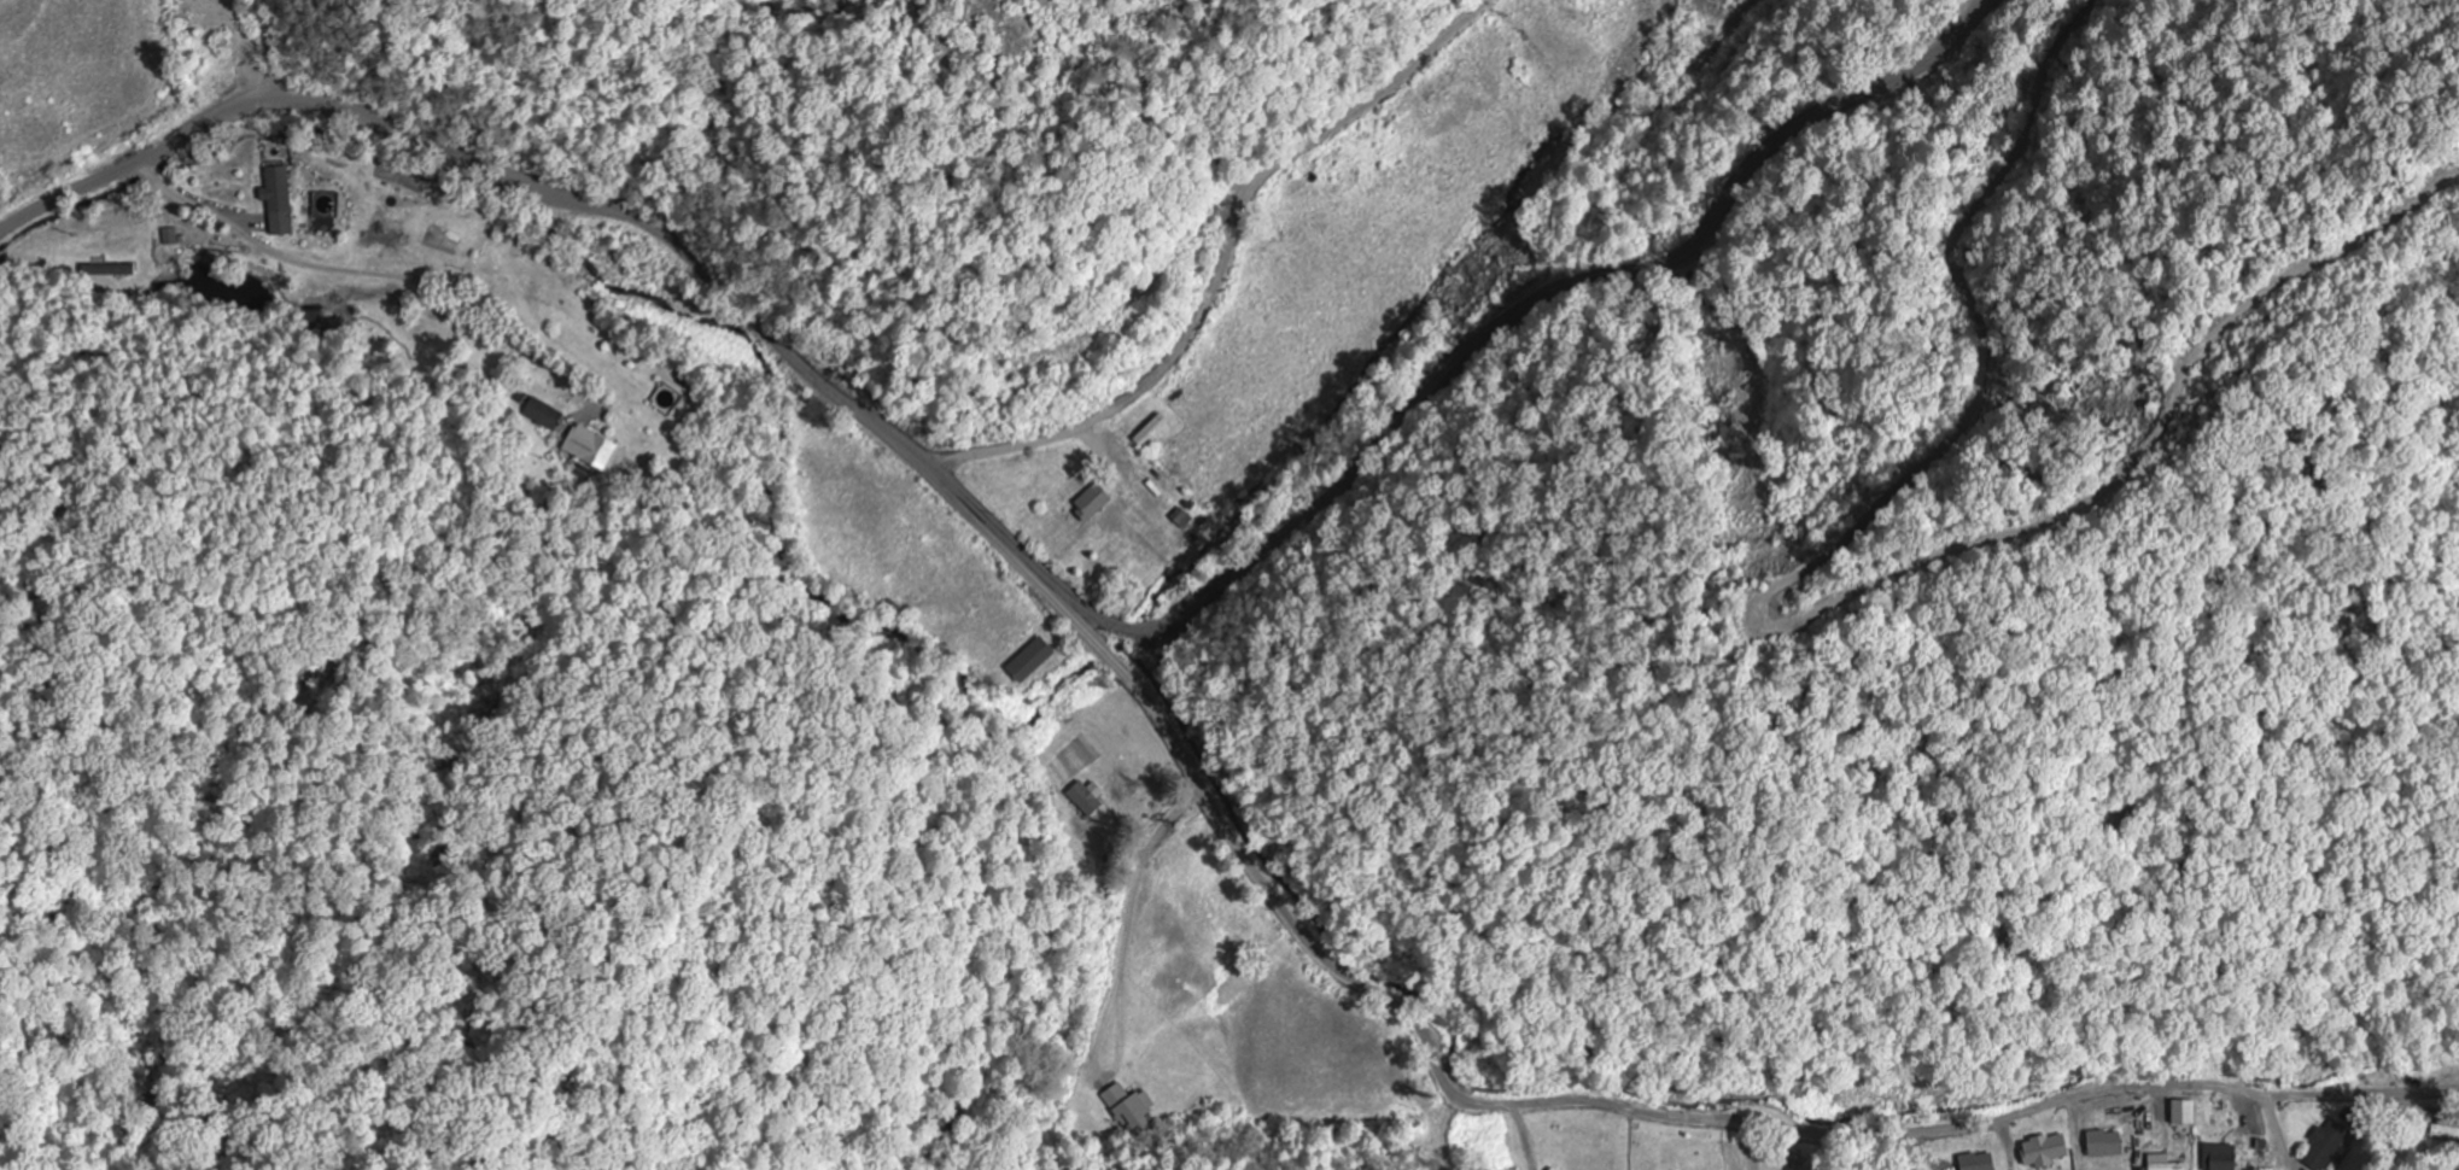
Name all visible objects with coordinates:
building: (222, 45)
road: (257, 53)
road: (132, 160)
building: (279, 203)
building: (109, 274)
road: (1402, 329)
building: (543, 415)
building: (589, 447)
building: (1093, 499)
building: (1122, 569)
road: (1018, 642)
building: (1030, 662)
building: (1086, 797)
road: (1262, 885)
building: (1129, 1110)
building: (2349, 1117)
building: (2446, 1133)
building: (2104, 1145)
building: (2326, 1145)
building: (2043, 1149)
building: (2220, 1158)
building: (2168, 1166)
building: (1553, 1169)

